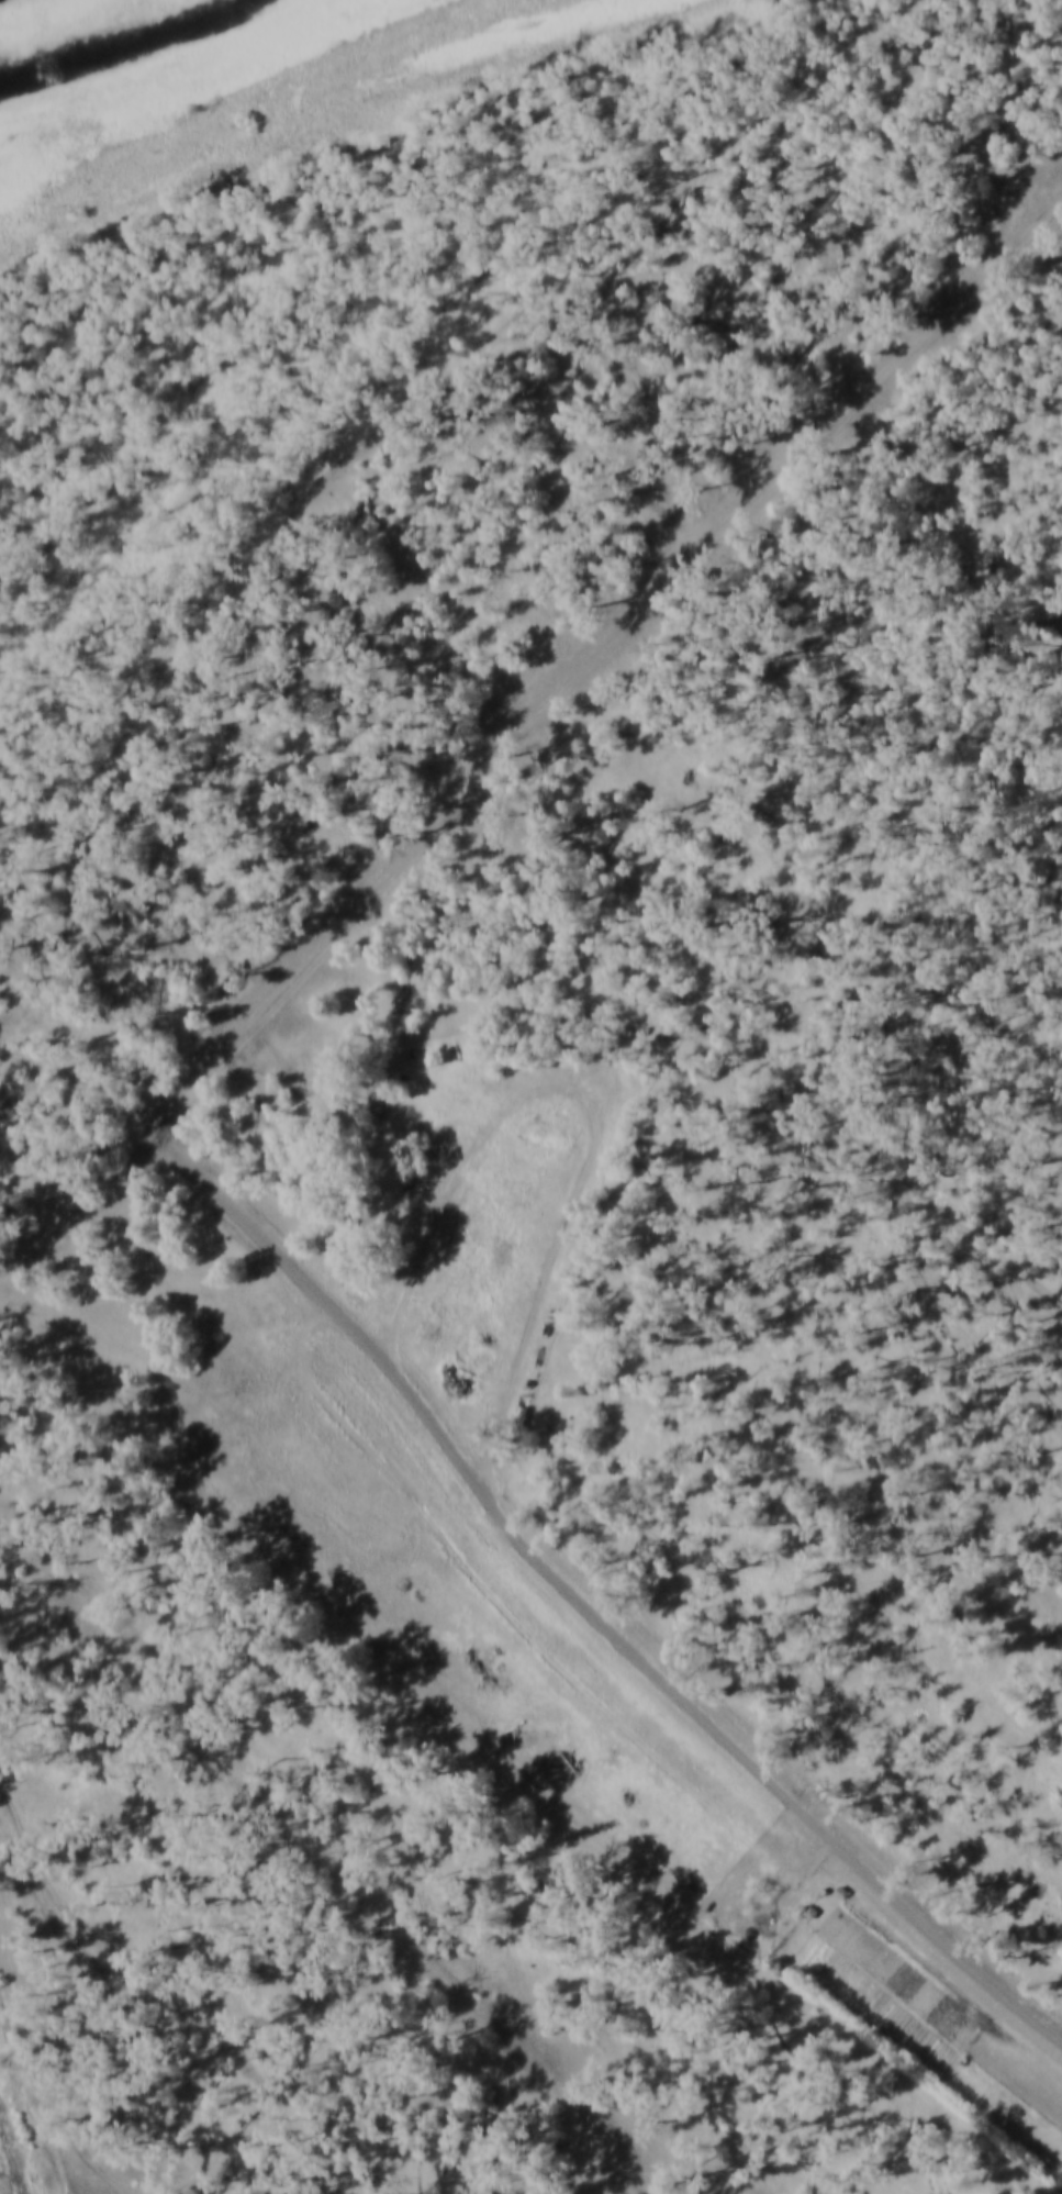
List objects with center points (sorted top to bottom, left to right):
road: (590, 670)
road: (547, 1285)
road: (524, 1540)
road: (155, 1993)
road: (100, 2051)
road: (75, 2130)

